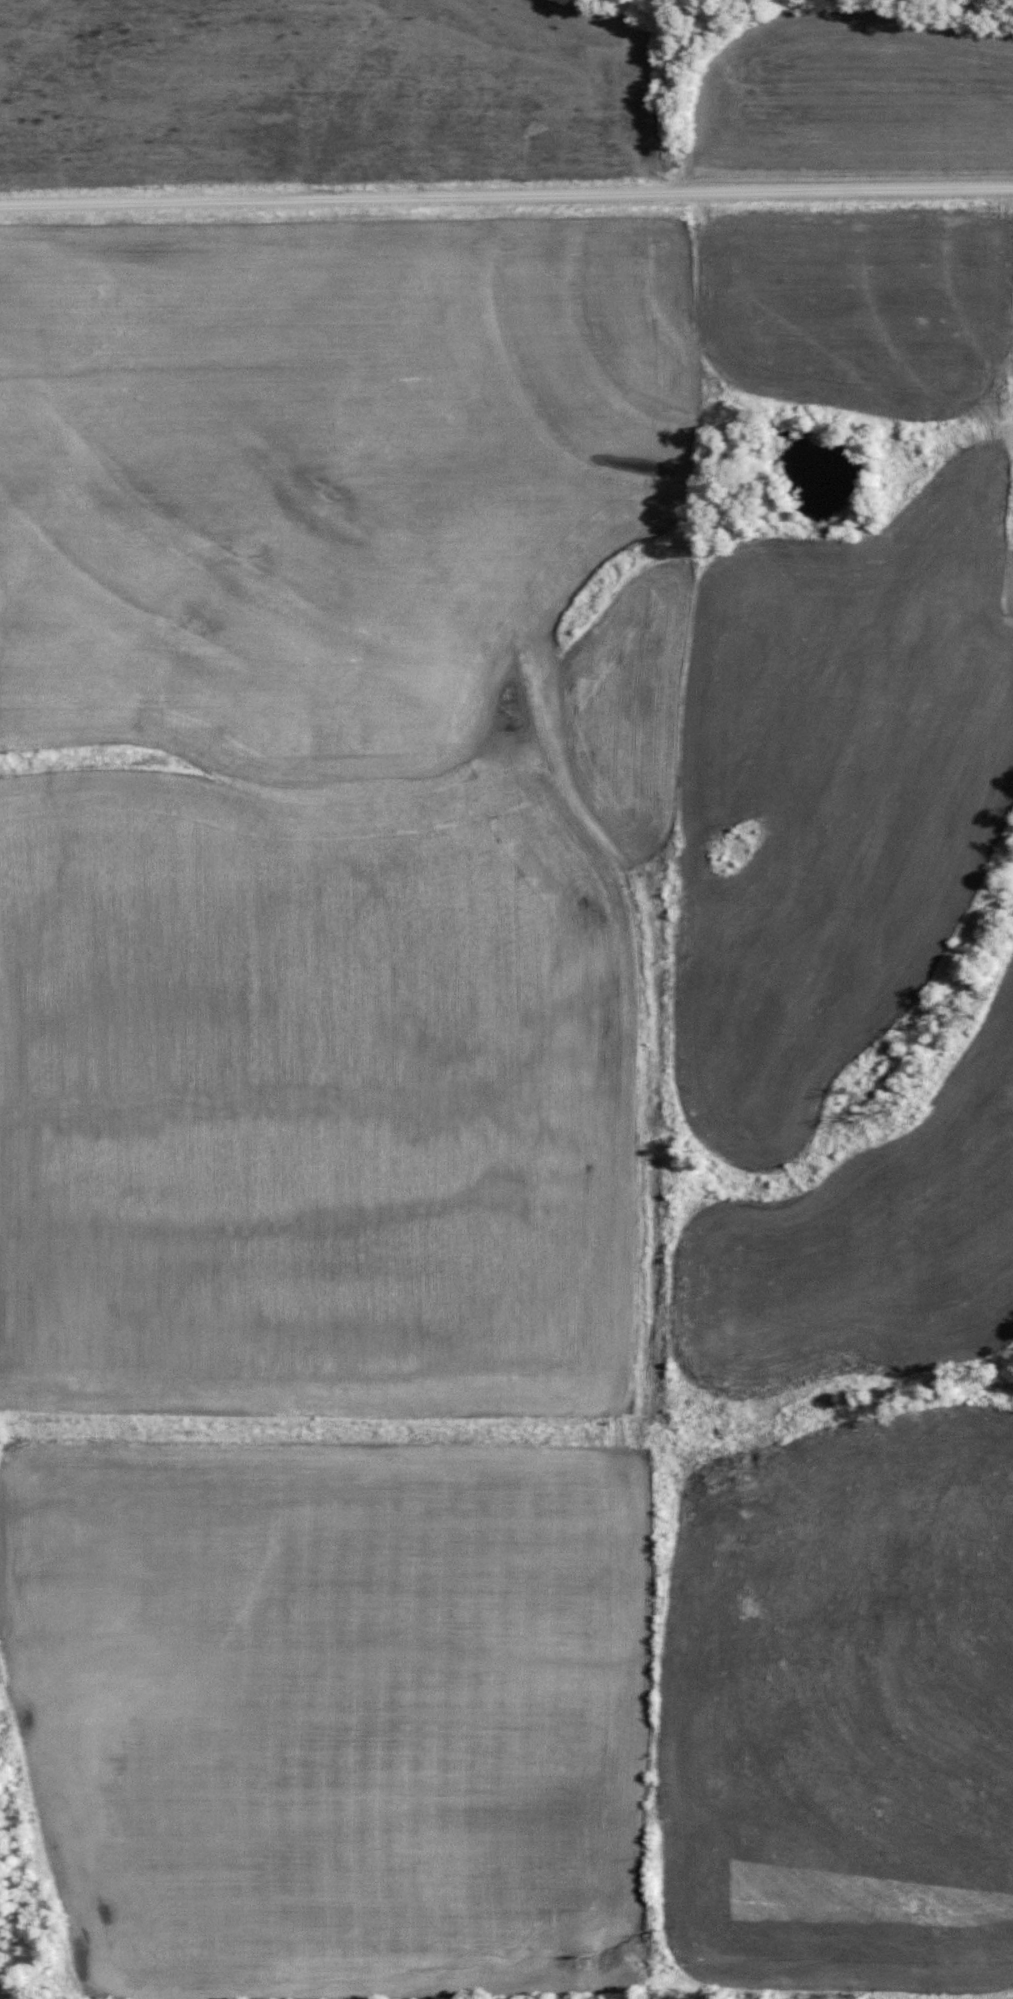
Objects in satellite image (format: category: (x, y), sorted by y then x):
road: (506, 199)

